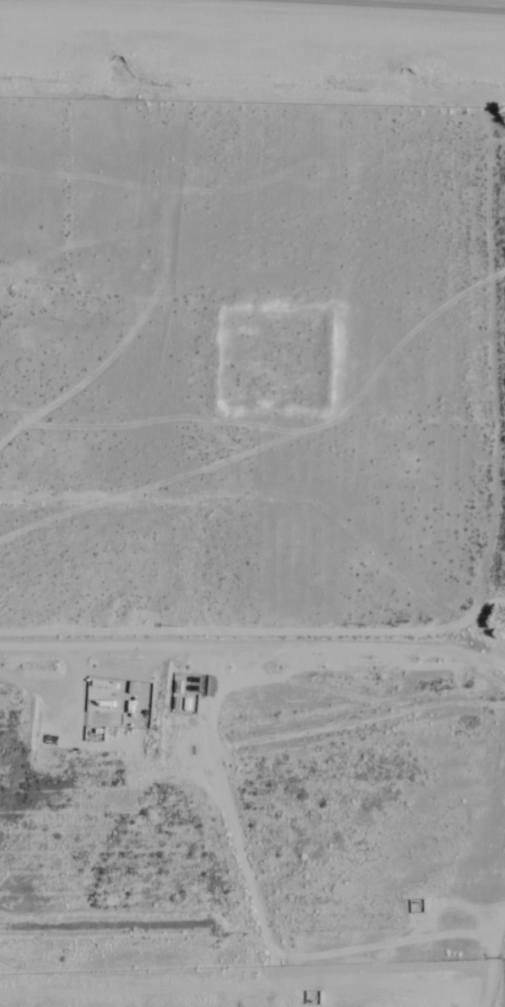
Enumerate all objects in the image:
road: (442, 4)
road: (68, 664)
crop: (200, 1002)

